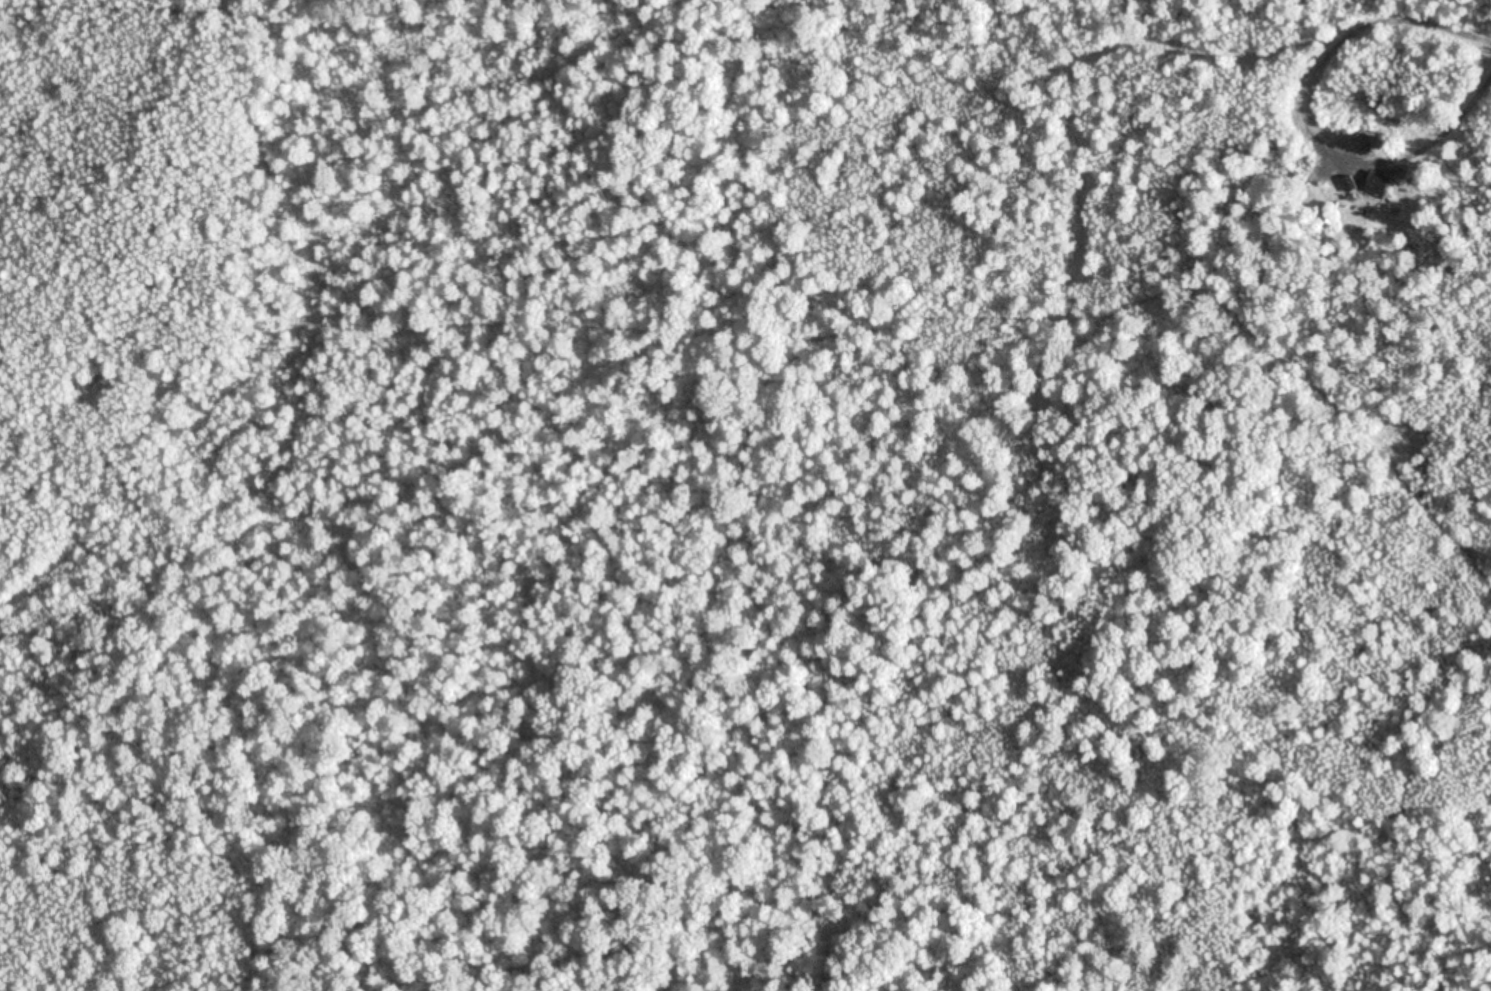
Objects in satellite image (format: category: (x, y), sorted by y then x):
building: (1382, 183)

